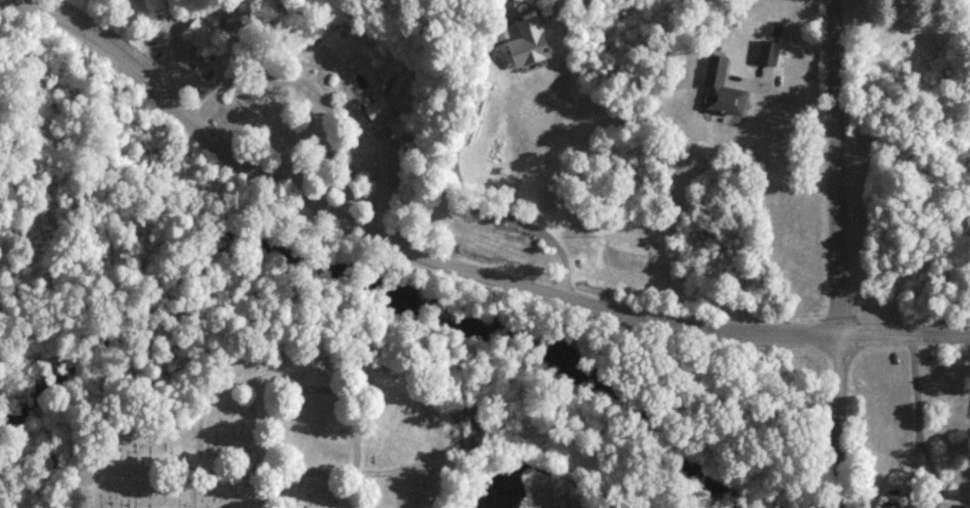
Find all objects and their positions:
building: (198, 35)
building: (526, 45)
building: (766, 53)
building: (719, 90)
road: (786, 107)
building: (384, 117)
road: (836, 168)
road: (462, 179)
road: (389, 240)
road: (905, 336)
road: (312, 388)
road: (911, 401)
road: (838, 422)
park: (286, 432)
road: (200, 470)
building: (889, 506)
building: (965, 507)

